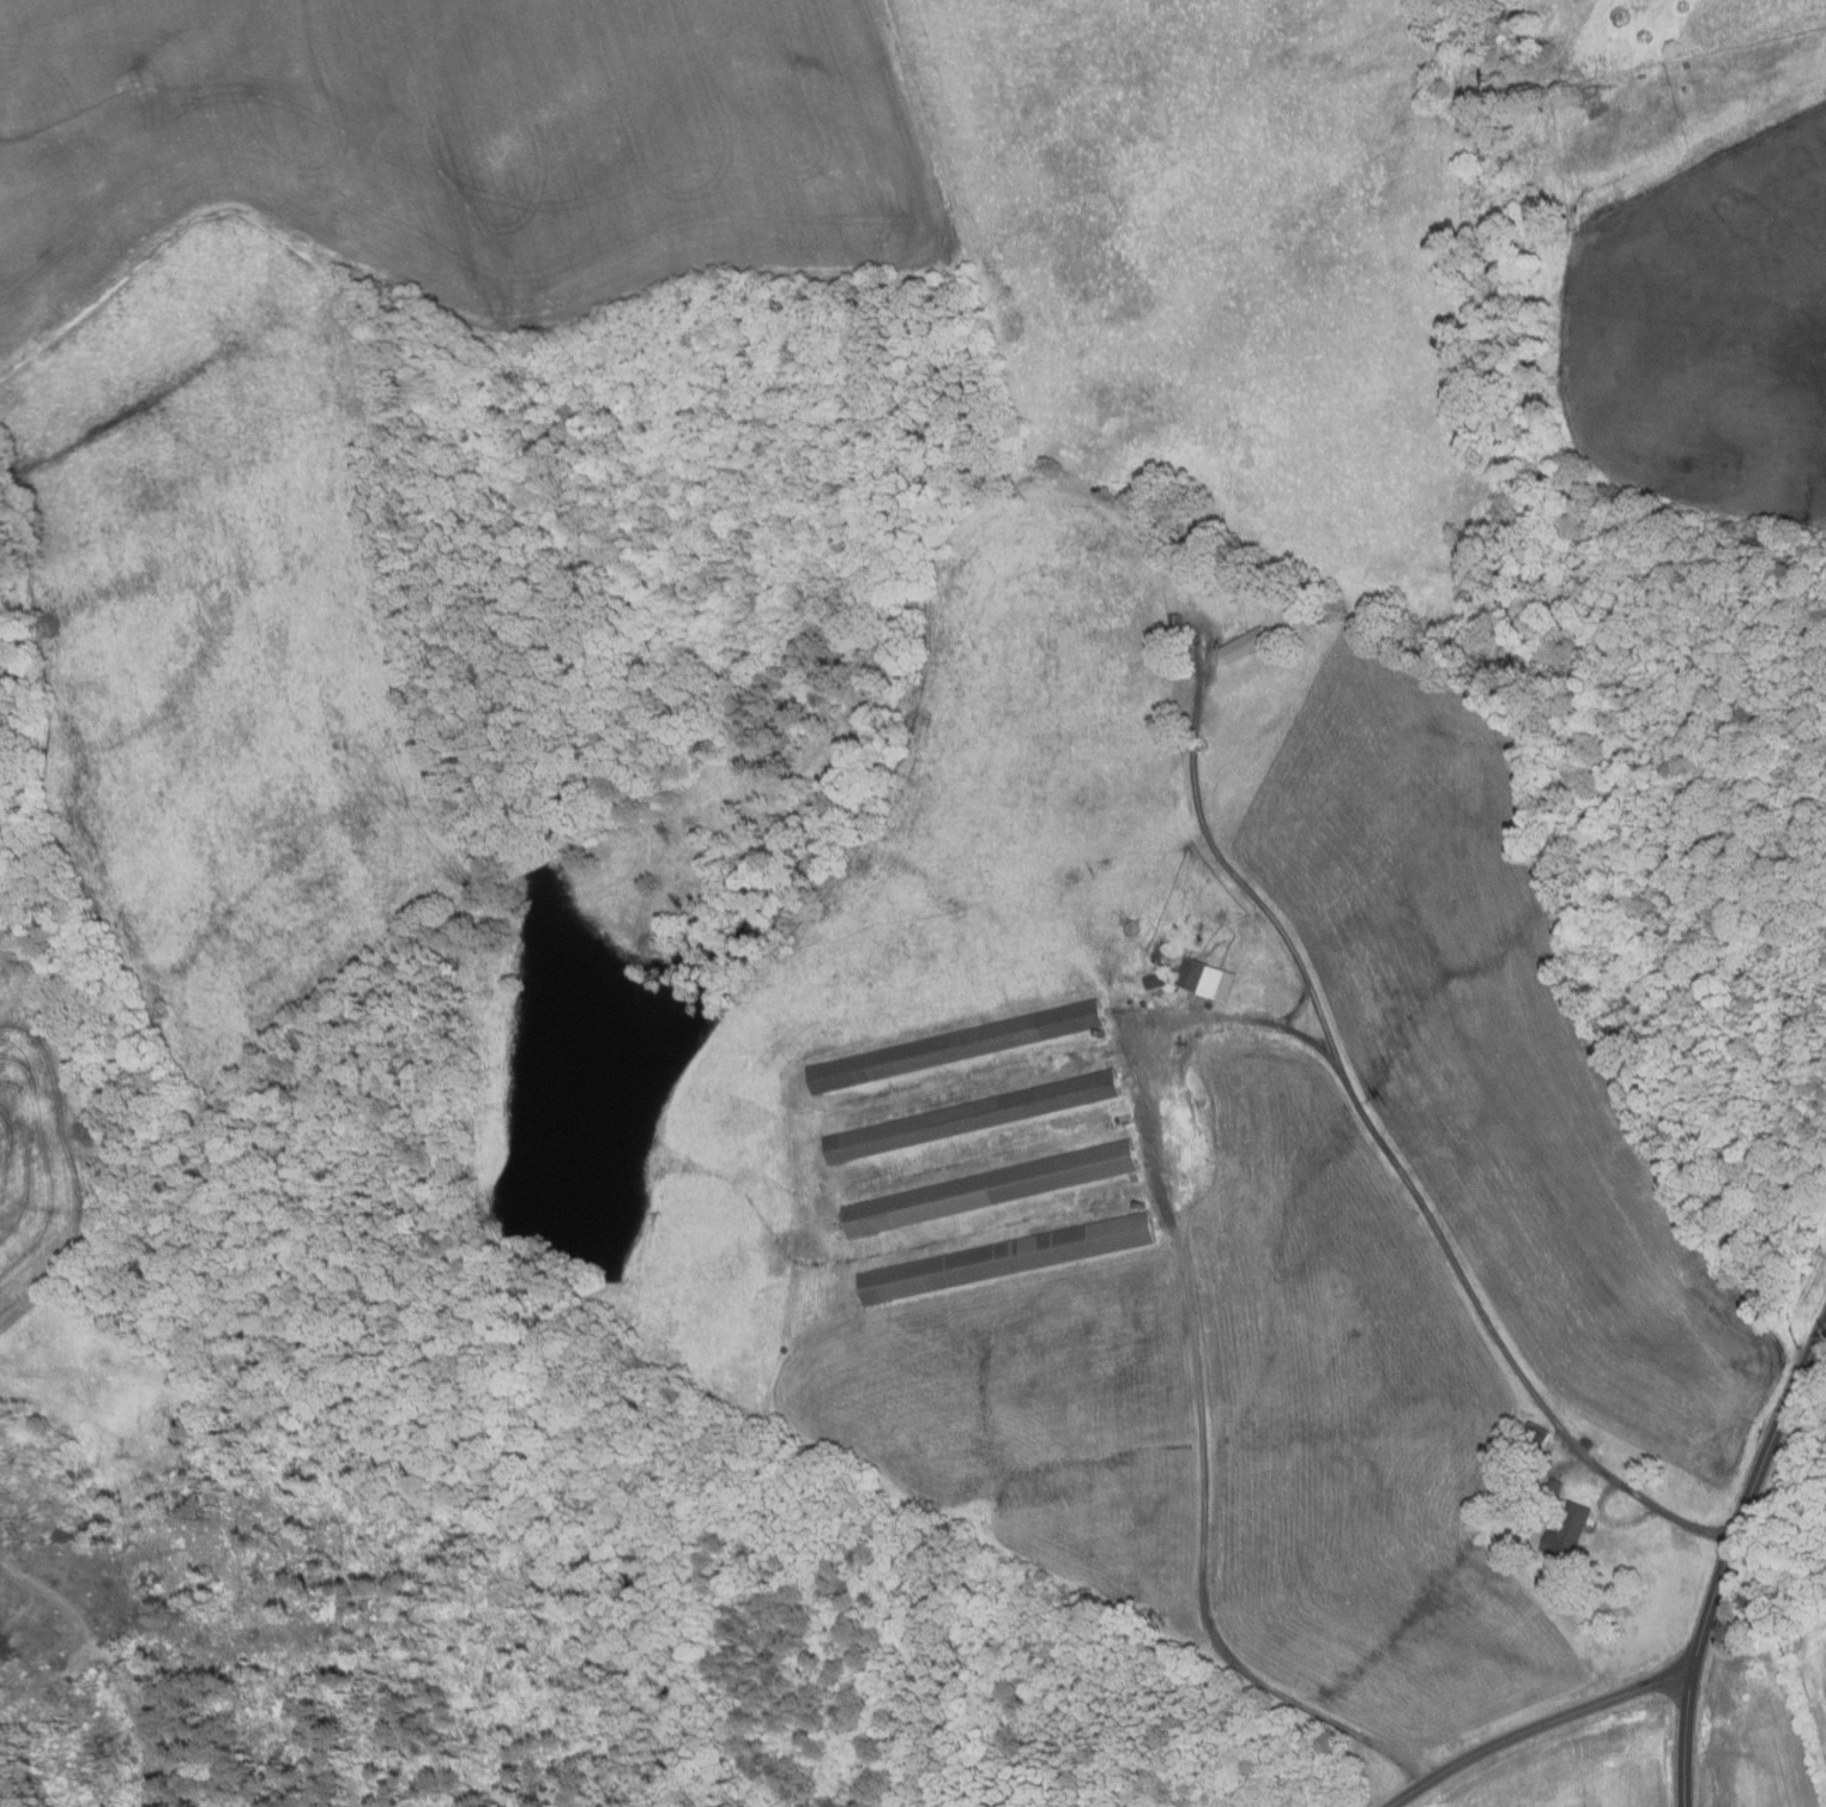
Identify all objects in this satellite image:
crop: (456, 144)
building: (1231, 578)
building: (1325, 616)
building: (1180, 627)
building: (1251, 645)
building: (1209, 979)
building: (1160, 983)
building: (957, 1046)
building: (974, 1117)
building: (1121, 1120)
road: (1380, 1143)
building: (990, 1189)
building: (1006, 1259)
road: (1196, 1353)
building: (1536, 1438)
road: (1610, 1518)
building: (1568, 1533)
road: (1728, 1558)
crop: (1767, 1727)
road: (1537, 1728)
crop: (1582, 1769)

